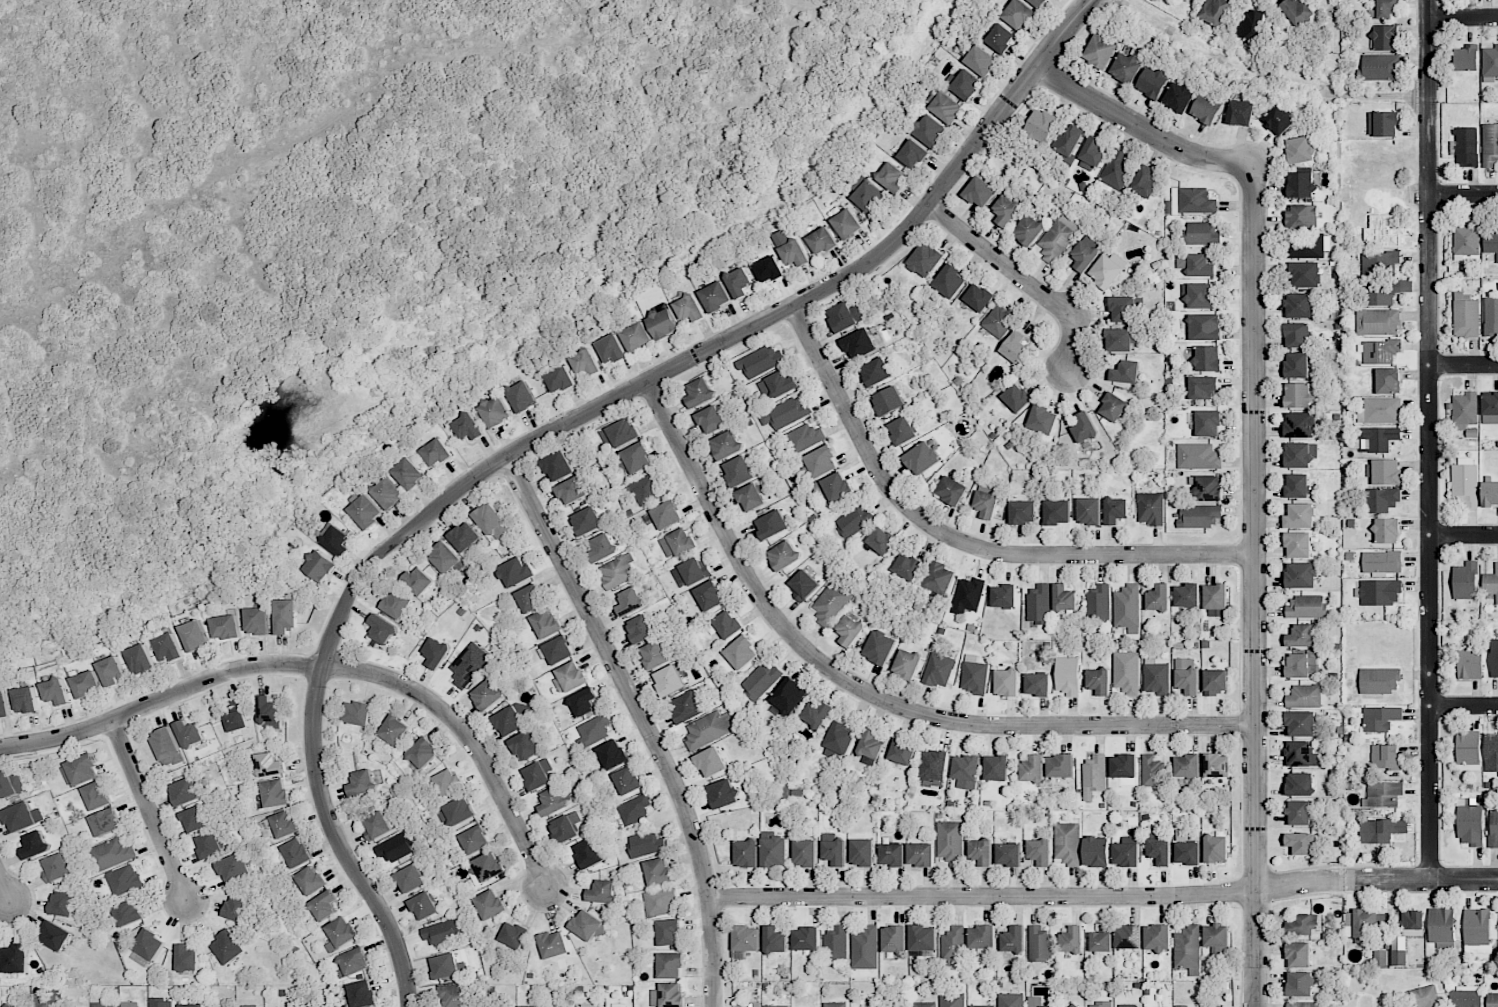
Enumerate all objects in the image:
building: (1038, 3)
building: (1386, 8)
building: (1215, 11)
building: (1296, 11)
building: (1018, 14)
road: (1462, 19)
building: (1251, 27)
building: (1385, 37)
building: (1000, 38)
building: (1101, 50)
building: (1467, 58)
building: (980, 60)
building: (1490, 61)
building: (1379, 67)
building: (1126, 68)
building: (1152, 83)
building: (966, 84)
building: (1178, 97)
building: (945, 107)
building: (1206, 108)
building: (1240, 113)
building: (1278, 120)
building: (1383, 124)
building: (1042, 126)
building: (929, 130)
building: (1069, 140)
building: (1490, 145)
building: (1466, 147)
building: (1300, 150)
building: (912, 154)
building: (1092, 154)
building: (1118, 169)
building: (891, 177)
building: (1146, 181)
building: (1301, 185)
building: (980, 192)
road: (1463, 194)
building: (867, 196)
building: (1191, 201)
building: (1007, 208)
building: (1301, 216)
building: (847, 224)
building: (1028, 230)
building: (1201, 233)
building: (1059, 236)
building: (1466, 239)
building: (822, 241)
building: (1491, 241)
building: (790, 249)
building: (1085, 254)
building: (924, 260)
building: (1380, 262)
building: (1199, 266)
building: (768, 269)
building: (1105, 272)
building: (1305, 274)
road: (1021, 279)
building: (949, 281)
building: (739, 282)
building: (1384, 292)
building: (1200, 295)
building: (715, 297)
building: (978, 297)
building: (1299, 305)
building: (689, 308)
building: (1123, 309)
building: (845, 315)
building: (1466, 316)
building: (1491, 317)
building: (998, 322)
building: (1377, 322)
building: (663, 324)
building: (1205, 327)
building: (1297, 335)
building: (637, 337)
building: (1119, 340)
building: (859, 344)
building: (1015, 347)
building: (612, 349)
building: (1380, 351)
building: (1205, 357)
building: (760, 361)
building: (585, 363)
building: (1296, 365)
road: (1463, 366)
building: (876, 372)
building: (1125, 372)
building: (559, 379)
building: (1388, 381)
building: (777, 386)
building: (1203, 388)
building: (699, 392)
building: (1298, 395)
building: (521, 397)
building: (1016, 397)
building: (888, 401)
building: (1113, 407)
building: (1464, 409)
building: (1490, 409)
building: (495, 411)
building: (1380, 411)
building: (786, 413)
building: (710, 420)
building: (1042, 420)
building: (1208, 423)
building: (1299, 425)
building: (467, 427)
building: (1083, 427)
building: (902, 430)
road: (553, 431)
building: (619, 434)
building: (805, 437)
building: (1379, 438)
road: (1428, 440)
building: (725, 445)
building: (436, 453)
building: (1299, 454)
building: (1198, 456)
building: (921, 458)
building: (635, 459)
building: (821, 461)
building: (557, 466)
road: (1252, 467)
building: (738, 471)
building: (1386, 472)
building: (408, 473)
building: (1465, 484)
building: (1208, 486)
building: (1297, 486)
building: (836, 487)
building: (646, 489)
building: (571, 490)
building: (951, 490)
building: (387, 493)
building: (1490, 493)
building: (750, 497)
building: (1383, 499)
building: (986, 503)
building: (1150, 508)
building: (1089, 511)
building: (1115, 511)
building: (365, 512)
building: (1023, 512)
building: (1057, 512)
building: (666, 515)
building: (1199, 516)
building: (1300, 516)
building: (491, 521)
building: (586, 521)
building: (854, 521)
building: (771, 525)
building: (1387, 530)
road: (1463, 536)
building: (464, 537)
building: (335, 540)
building: (881, 542)
road: (960, 542)
building: (677, 543)
building: (1297, 544)
building: (601, 548)
building: (783, 555)
building: (444, 557)
building: (1382, 561)
building: (320, 566)
building: (907, 566)
building: (617, 571)
building: (693, 571)
building: (515, 572)
building: (1300, 575)
building: (939, 577)
building: (418, 581)
building: (1465, 581)
building: (1491, 584)
building: (803, 585)
building: (1379, 592)
building: (968, 594)
building: (1187, 595)
building: (709, 596)
building: (1003, 596)
building: (1064, 598)
building: (1158, 598)
building: (530, 599)
building: (1215, 600)
building: (629, 601)
building: (1098, 602)
building: (397, 603)
building: (831, 603)
building: (1039, 604)
building: (1126, 606)
building: (1306, 607)
building: (285, 616)
building: (257, 621)
building: (545, 623)
building: (727, 624)
building: (226, 627)
building: (382, 629)
building: (640, 629)
building: (849, 630)
building: (1300, 635)
building: (195, 636)
building: (879, 647)
building: (169, 648)
building: (558, 650)
building: (436, 652)
building: (741, 653)
building: (654, 655)
building: (1494, 657)
building: (140, 659)
building: (1470, 662)
building: (1299, 664)
building: (469, 665)
building: (906, 665)
road: (325, 666)
building: (938, 670)
building: (111, 671)
building: (1126, 673)
building: (974, 675)
building: (1067, 675)
building: (1187, 675)
building: (570, 677)
building: (1156, 677)
building: (669, 680)
building: (1379, 680)
building: (761, 681)
building: (1098, 681)
building: (1215, 681)
building: (1006, 683)
building: (86, 684)
building: (1037, 684)
building: (56, 691)
building: (487, 694)
road: (868, 695)
building: (1304, 695)
building: (789, 696)
building: (25, 700)
building: (583, 702)
building: (4, 704)
building: (686, 706)
road: (1464, 707)
building: (269, 712)
building: (358, 713)
building: (816, 714)
building: (511, 718)
building: (1378, 718)
building: (237, 720)
road: (643, 721)
building: (1300, 724)
building: (594, 729)
building: (708, 729)
building: (394, 730)
building: (189, 733)
building: (838, 741)
building: (870, 744)
building: (524, 745)
building: (167, 747)
building: (1468, 748)
building: (902, 751)
building: (1491, 752)
building: (423, 753)
building: (612, 754)
building: (1301, 754)
building: (1385, 757)
building: (710, 762)
building: (269, 765)
building: (933, 766)
building: (1060, 766)
building: (1123, 766)
building: (1186, 766)
building: (1217, 766)
building: (996, 768)
building: (1032, 768)
building: (80, 770)
building: (965, 771)
building: (1152, 771)
building: (537, 774)
building: (1094, 776)
building: (627, 780)
building: (448, 782)
building: (362, 783)
building: (1299, 784)
building: (10, 785)
building: (185, 791)
building: (275, 793)
building: (723, 793)
building: (1383, 794)
building: (96, 795)
building: (551, 801)
building: (634, 810)
road: (148, 811)
building: (458, 811)
building: (1298, 813)
building: (22, 817)
building: (197, 818)
building: (105, 822)
building: (284, 824)
building: (377, 825)
building: (1470, 825)
building: (1494, 825)
building: (566, 827)
building: (1382, 830)
building: (1185, 837)
building: (475, 840)
building: (646, 843)
building: (950, 843)
building: (1067, 843)
building: (1300, 843)
building: (35, 845)
building: (209, 845)
building: (394, 848)
building: (833, 849)
building: (1216, 849)
building: (773, 850)
building: (1039, 851)
building: (1096, 851)
building: (1159, 851)
building: (804, 852)
building: (862, 852)
building: (981, 852)
building: (1126, 852)
building: (112, 853)
building: (296, 853)
building: (588, 853)
building: (746, 853)
building: (1187, 853)
building: (920, 854)
building: (891, 855)
building: (1008, 855)
building: (56, 867)
building: (485, 867)
building: (234, 868)
building: (658, 871)
building: (410, 878)
building: (123, 880)
building: (310, 880)
road: (4, 889)
building: (602, 892)
road: (1103, 895)
building: (660, 902)
building: (63, 903)
building: (490, 904)
building: (323, 906)
building: (424, 906)
building: (237, 907)
building: (128, 913)
building: (1413, 923)
building: (1306, 924)
building: (1363, 924)
building: (587, 925)
building: (1441, 927)
building: (1477, 931)
building: (441, 932)
building: (669, 932)
building: (340, 933)
building: (54, 935)
building: (514, 935)
building: (1128, 937)
building: (1157, 937)
building: (746, 938)
building: (806, 938)
building: (894, 938)
building: (923, 938)
building: (1216, 938)
building: (1013, 939)
building: (1071, 939)
building: (1101, 939)
building: (775, 940)
building: (982, 940)
building: (149, 944)
building: (553, 944)
building: (836, 944)
building: (1039, 944)
building: (953, 946)
building: (228, 947)
building: (1187, 947)
building: (865, 948)
building: (1398, 951)
building: (1298, 955)
building: (15, 958)
building: (187, 958)
building: (1380, 958)
building: (353, 962)
building: (670, 965)
building: (444, 966)
building: (1299, 983)
building: (362, 994)
building: (668, 995)
building: (453, 996)
building: (1423, 997)
building: (1466, 997)
building: (1492, 999)
building: (952, 1000)
building: (1011, 1000)
building: (44, 1001)
building: (1034, 1001)
building: (160, 1003)
building: (130, 1004)
building: (835, 1004)
building: (924, 1004)
building: (1101, 1004)
building: (1303, 1004)
building: (191, 1005)
building: (25, 1006)
building: (219, 1006)
building: (531, 1006)
building: (584, 1006)
building: (778, 1006)
building: (888, 1006)
building: (982, 1006)

